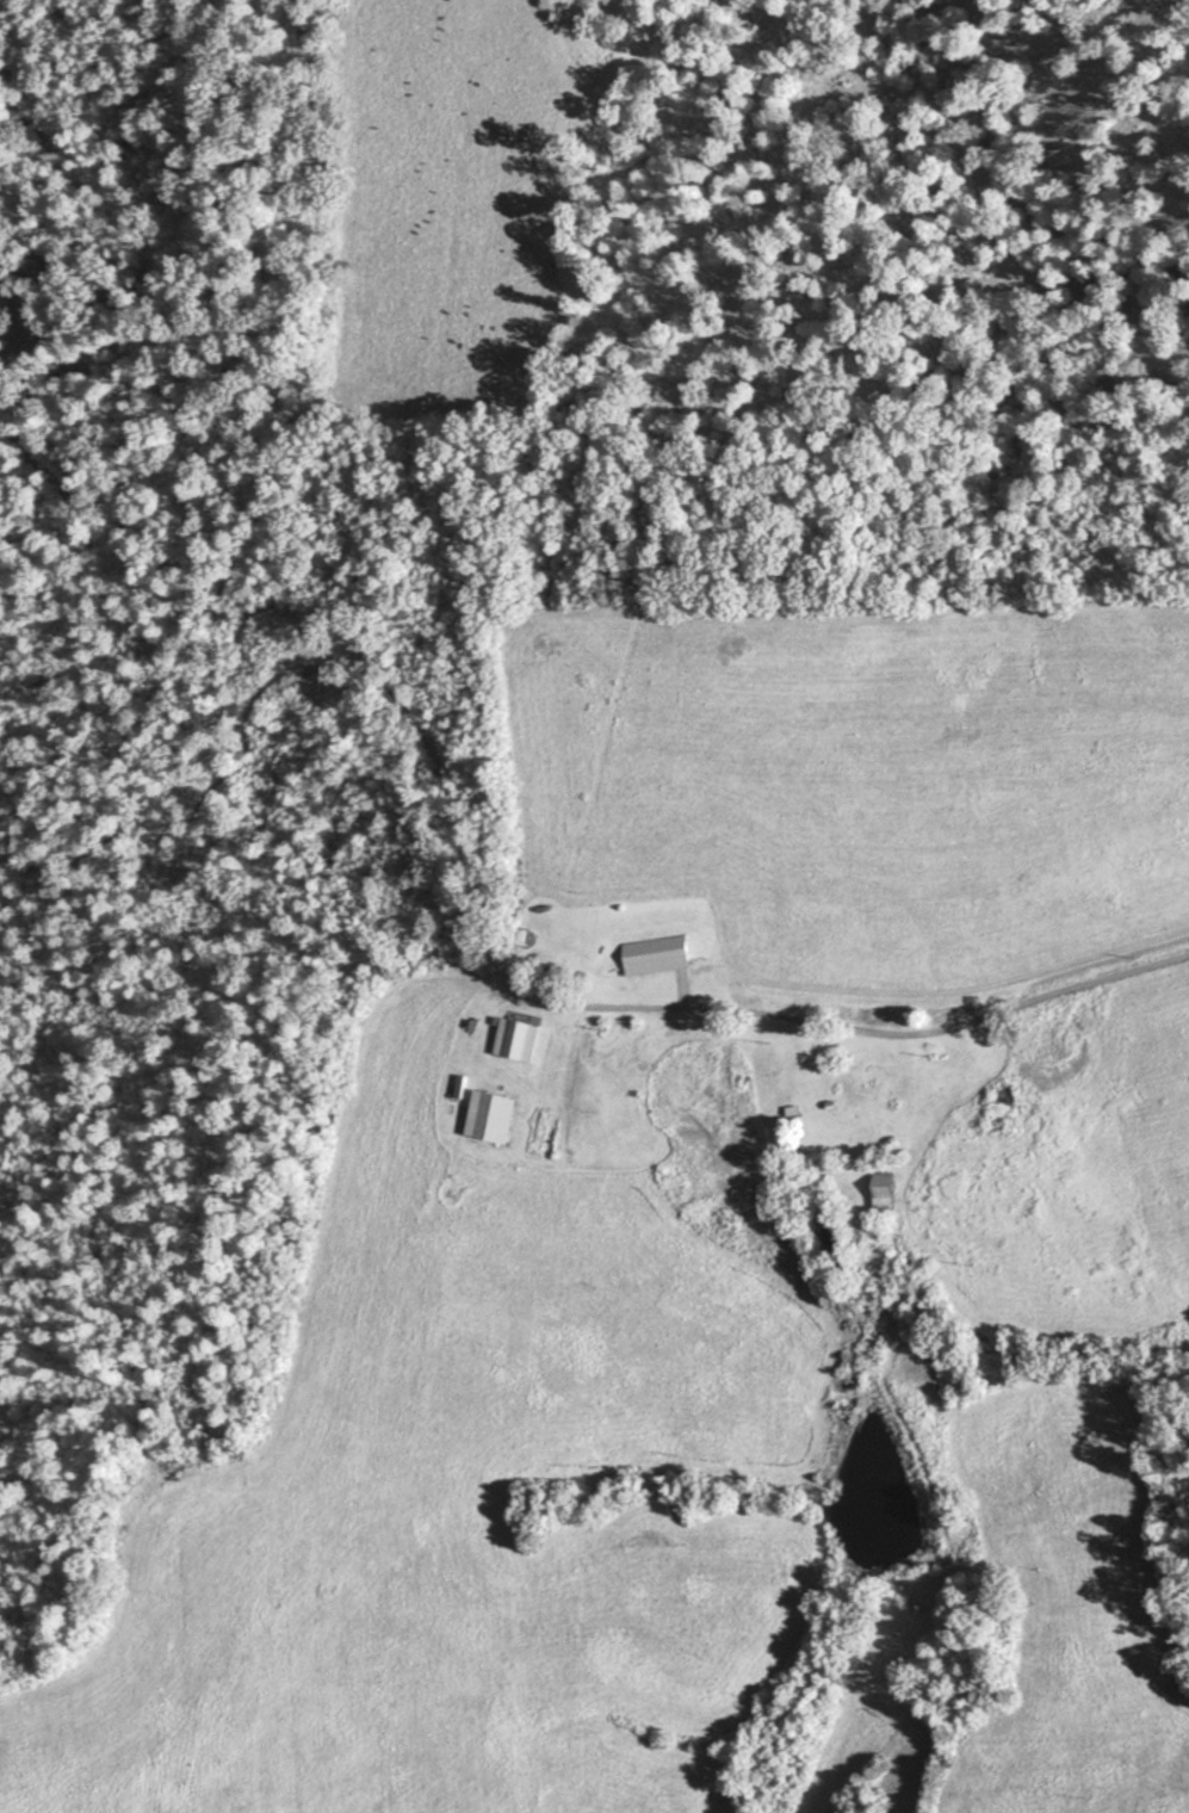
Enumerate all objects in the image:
building: (659, 957)
road: (890, 1027)
building: (522, 1040)
building: (489, 1116)
building: (888, 1194)

